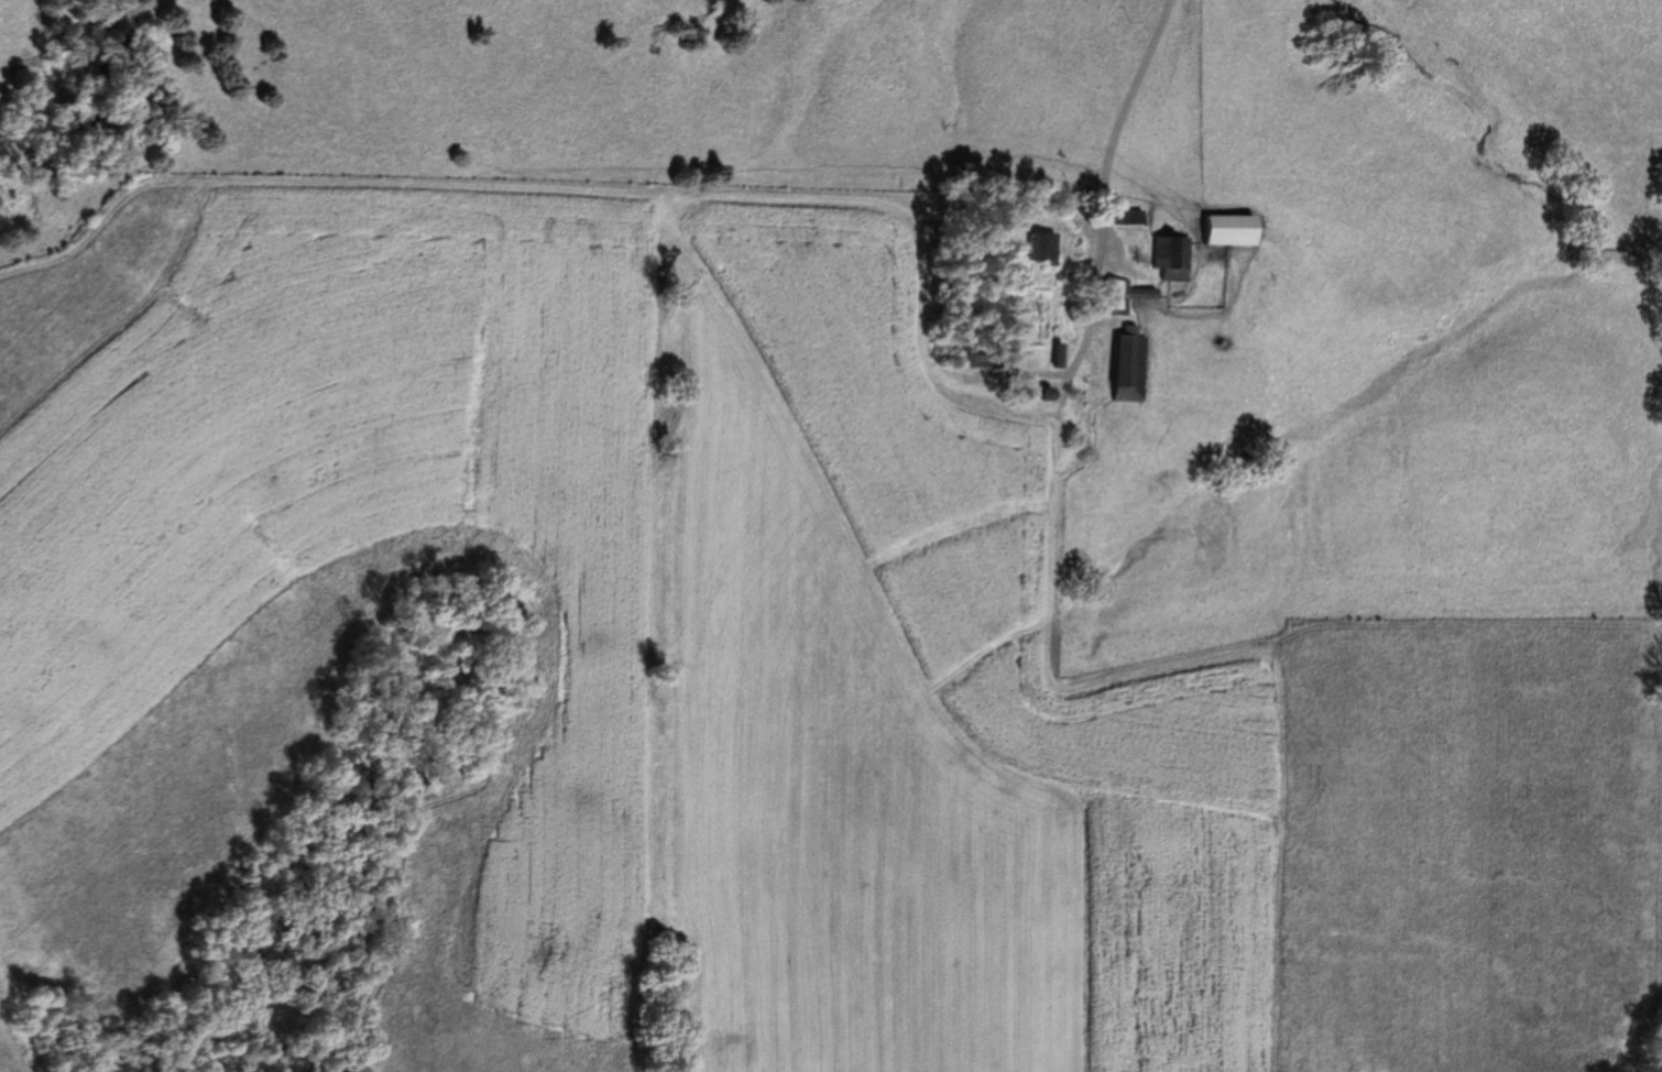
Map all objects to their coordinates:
road: (1115, 132)
building: (1076, 217)
building: (1216, 229)
building: (1024, 245)
building: (1041, 248)
building: (1159, 256)
building: (1120, 373)

